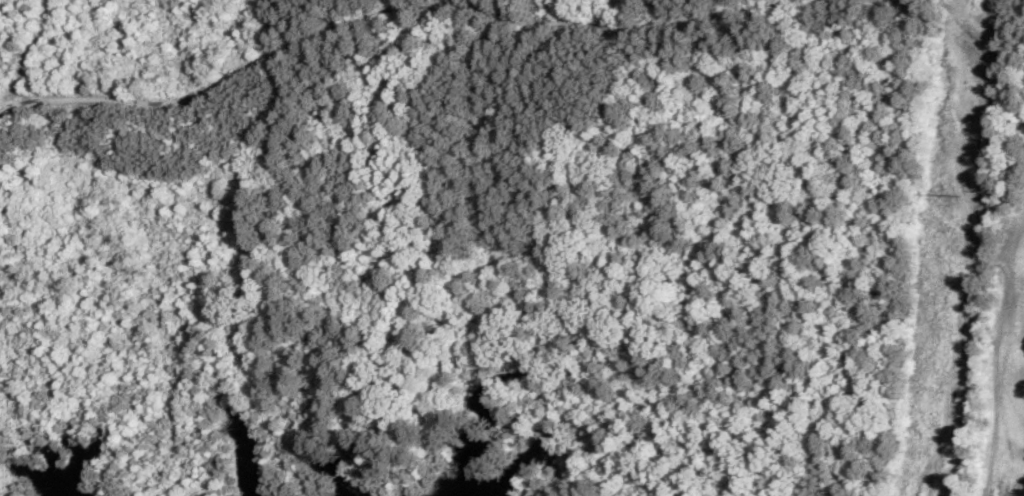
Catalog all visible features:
road: (386, 10)
road: (946, 12)
road: (969, 238)

